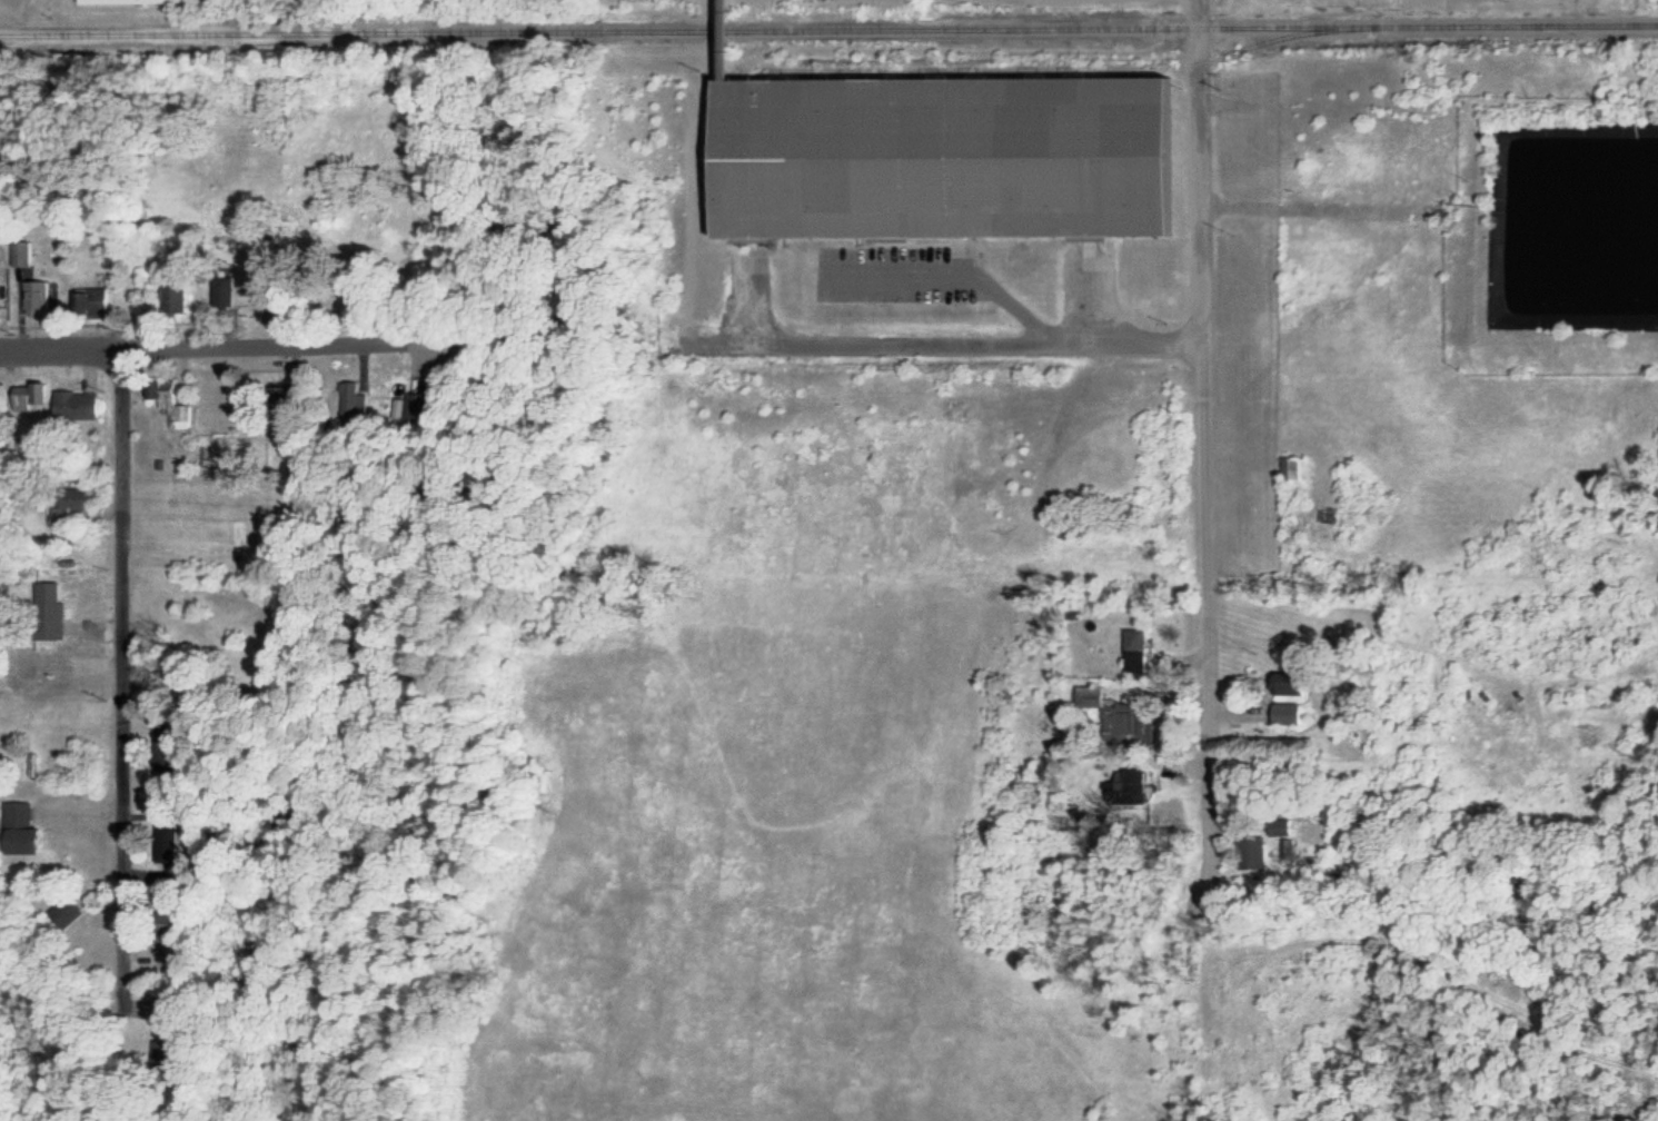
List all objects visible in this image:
building: (129, 2)
railway: (828, 28)
railway: (1043, 68)
building: (935, 155)
building: (24, 252)
building: (221, 291)
building: (46, 296)
building: (102, 297)
building: (172, 297)
building: (1, 311)
road: (945, 338)
road: (207, 344)
building: (31, 396)
building: (169, 401)
building: (82, 404)
building: (1289, 468)
building: (77, 502)
road: (1192, 560)
building: (229, 587)
building: (58, 615)
building: (1134, 651)
road: (122, 666)
building: (1285, 684)
building: (1114, 713)
building: (1285, 713)
building: (1130, 785)
building: (1280, 827)
building: (26, 830)
building: (1252, 855)
building: (71, 911)

